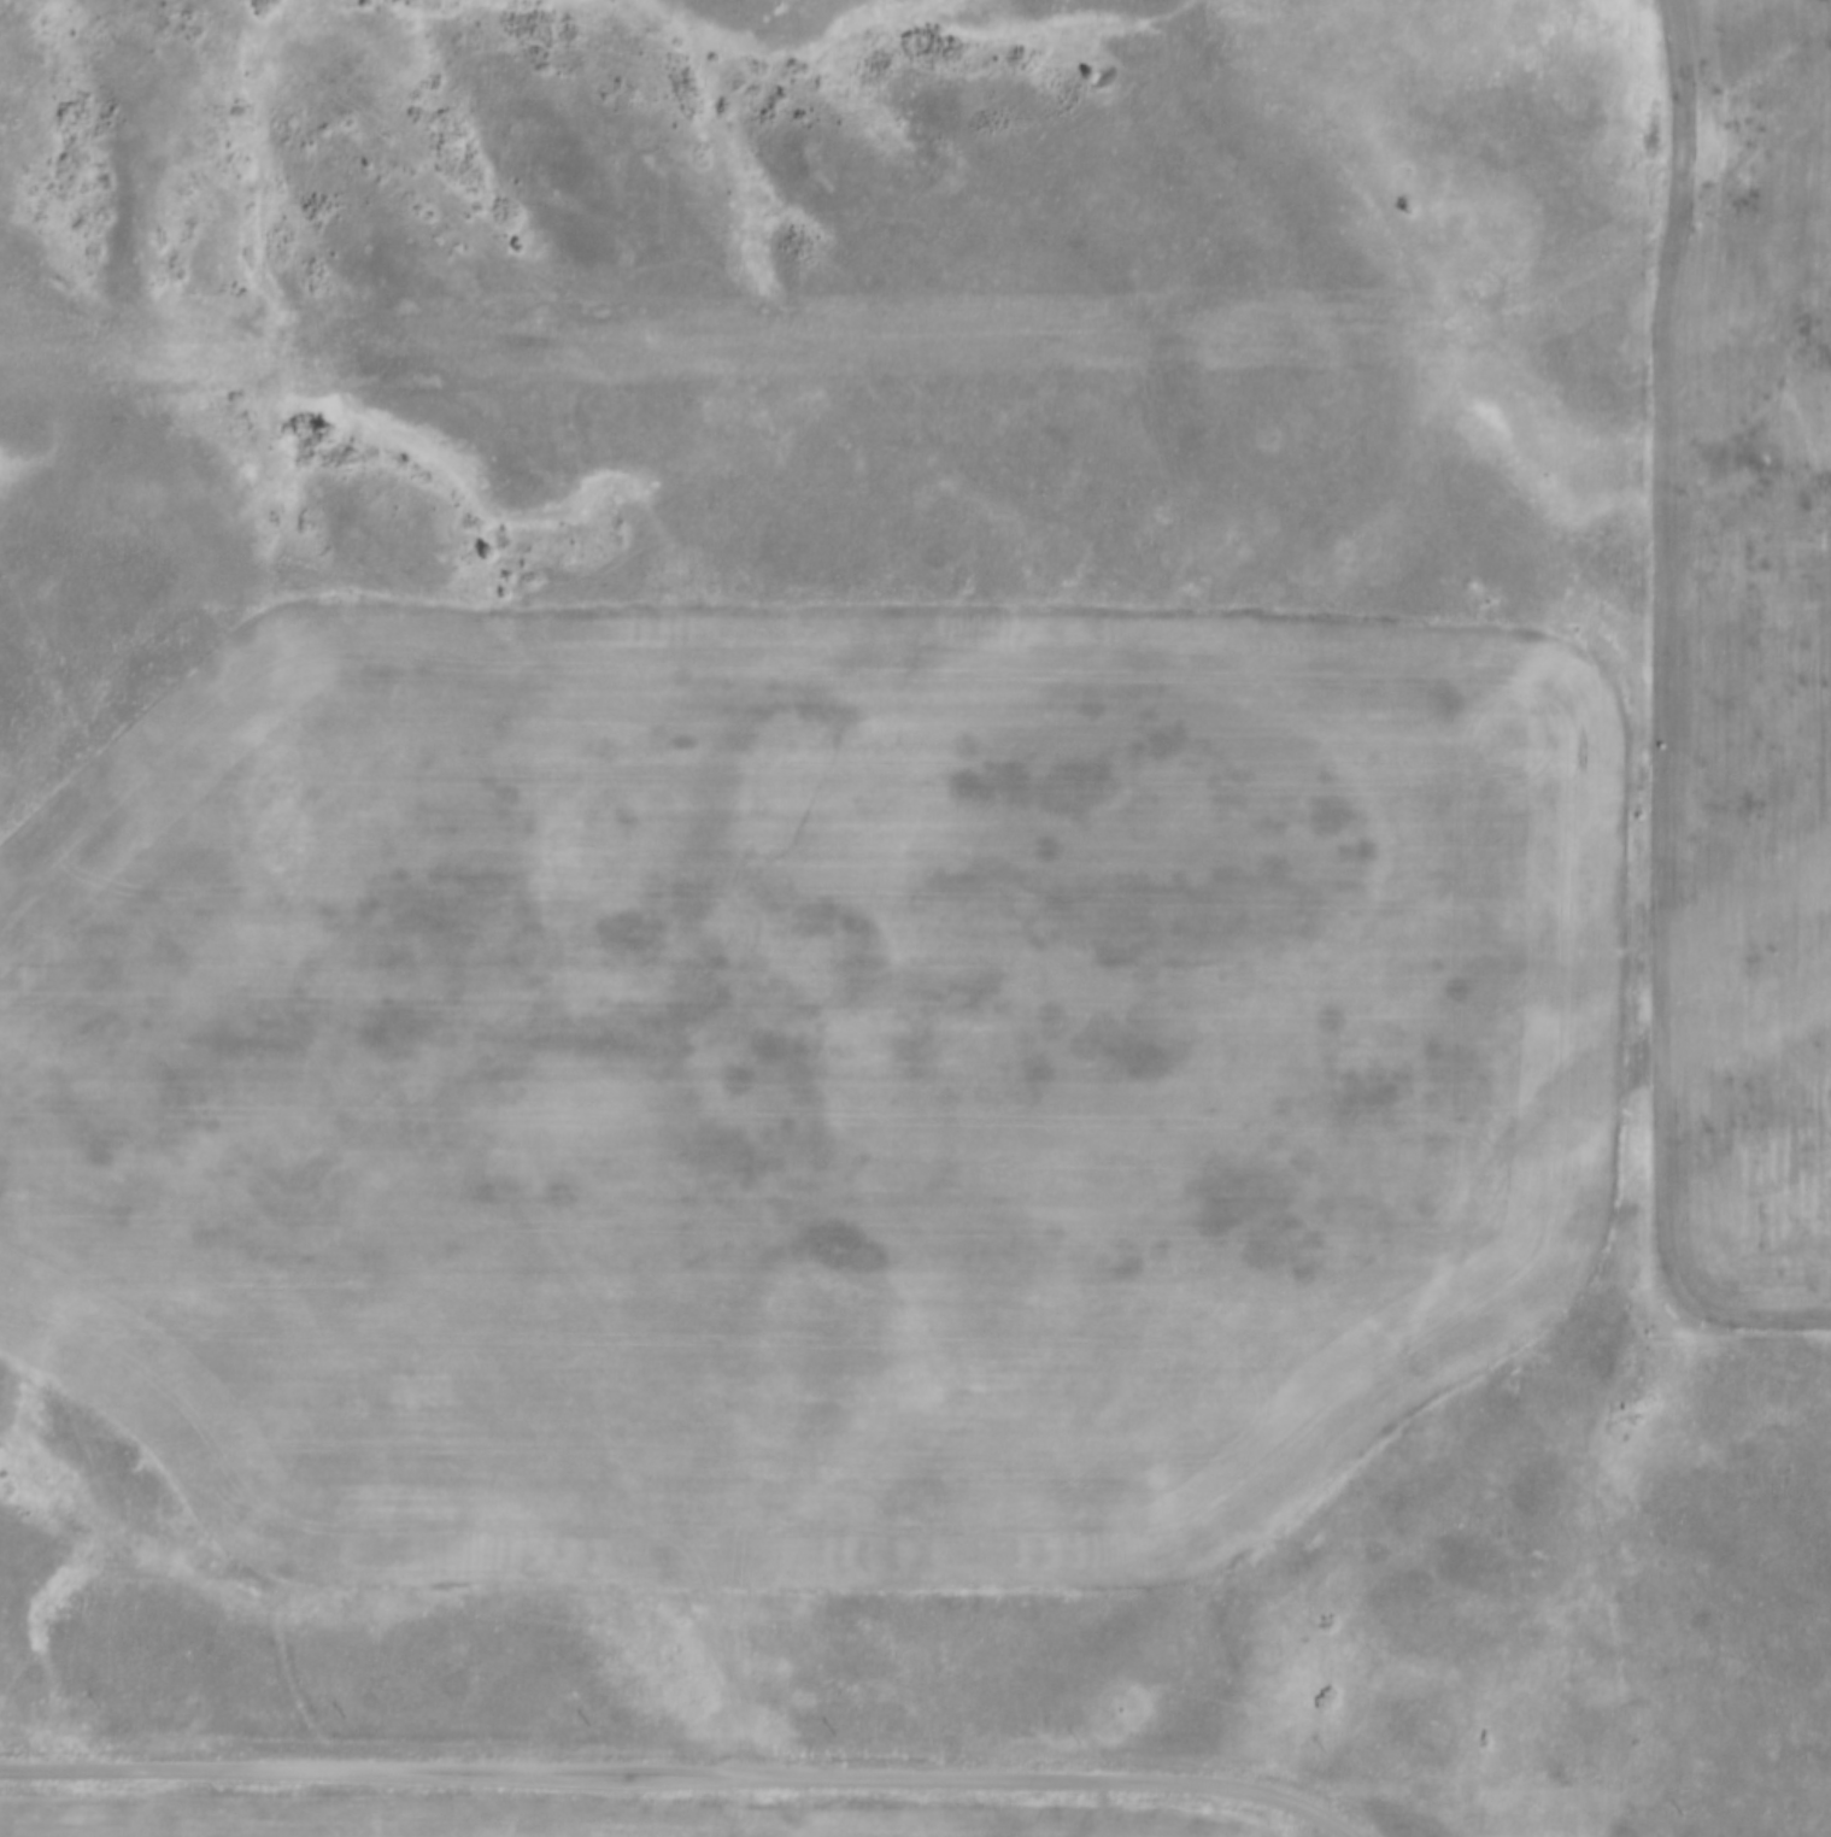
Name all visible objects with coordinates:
road: (1608, 1566)

